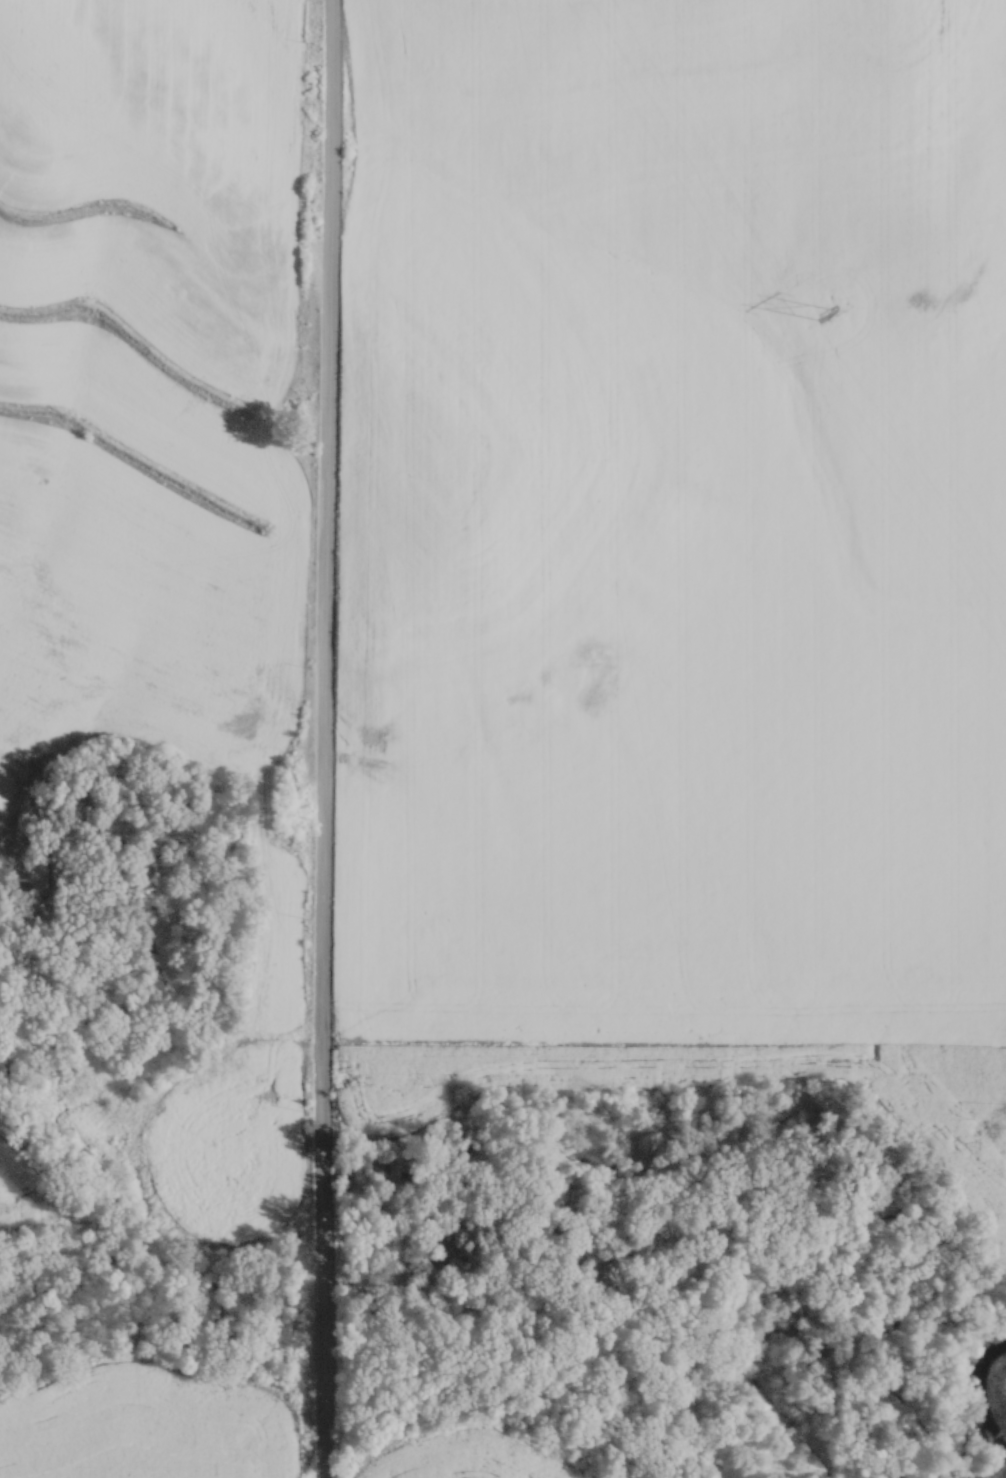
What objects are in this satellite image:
power tower: (833, 317)
road: (324, 739)

